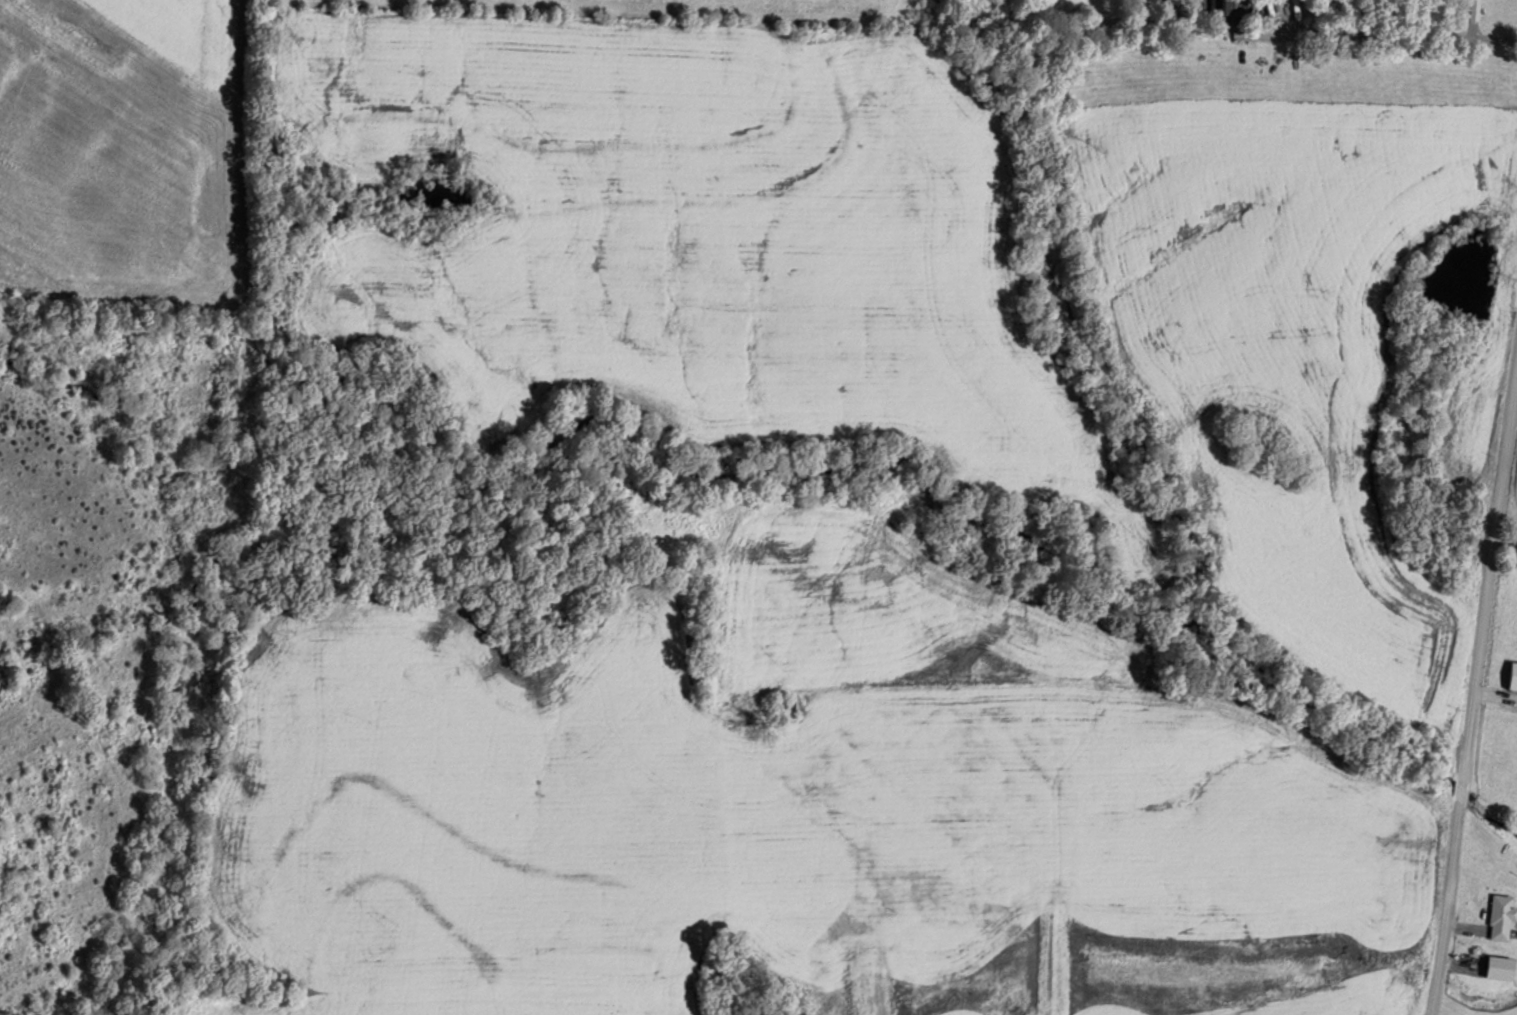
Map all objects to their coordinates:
building: (1221, 8)
road: (1467, 667)
building: (1502, 917)
building: (1502, 968)

